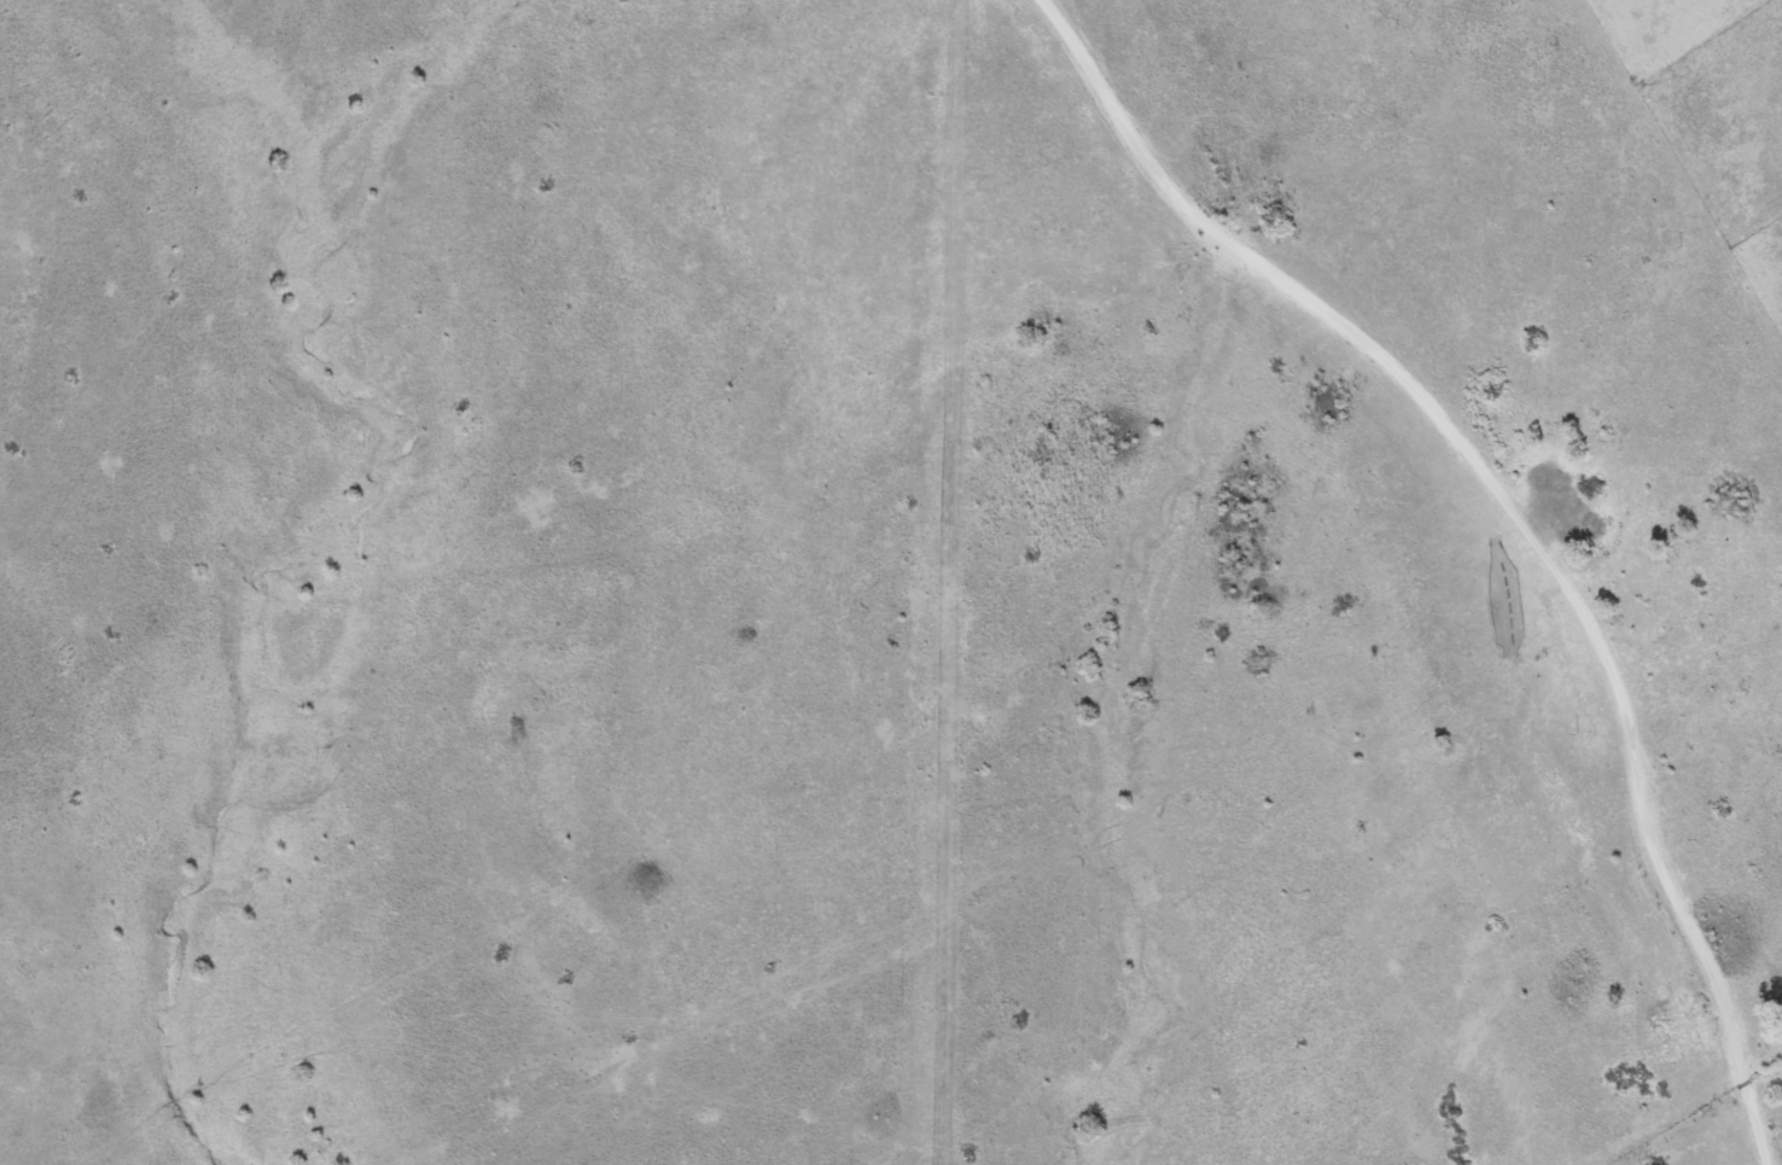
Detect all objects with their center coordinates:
road: (1519, 511)

